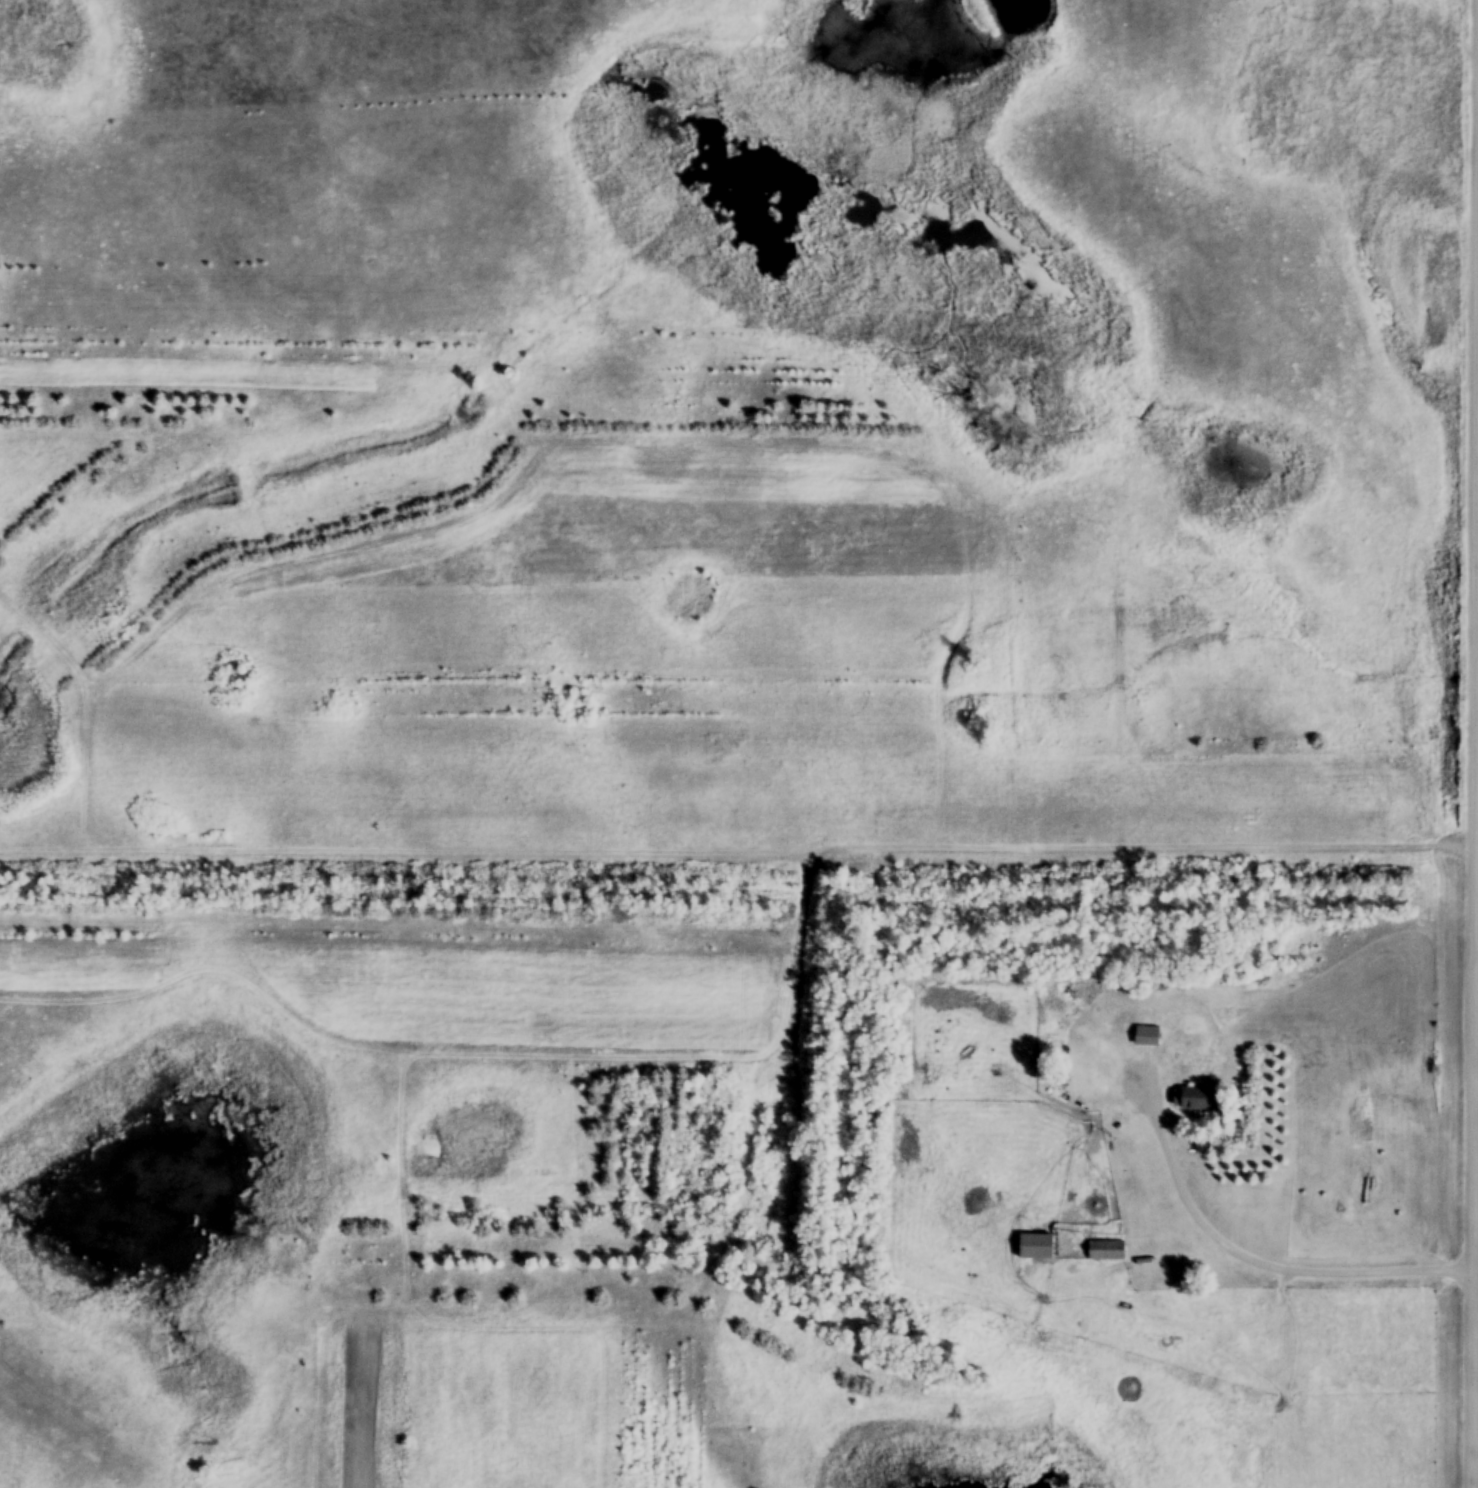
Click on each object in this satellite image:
building: (1080, 1014)
building: (1146, 1037)
building: (1199, 1099)
road: (1476, 1111)
building: (1036, 1249)
building: (1105, 1252)
road: (1241, 1254)

